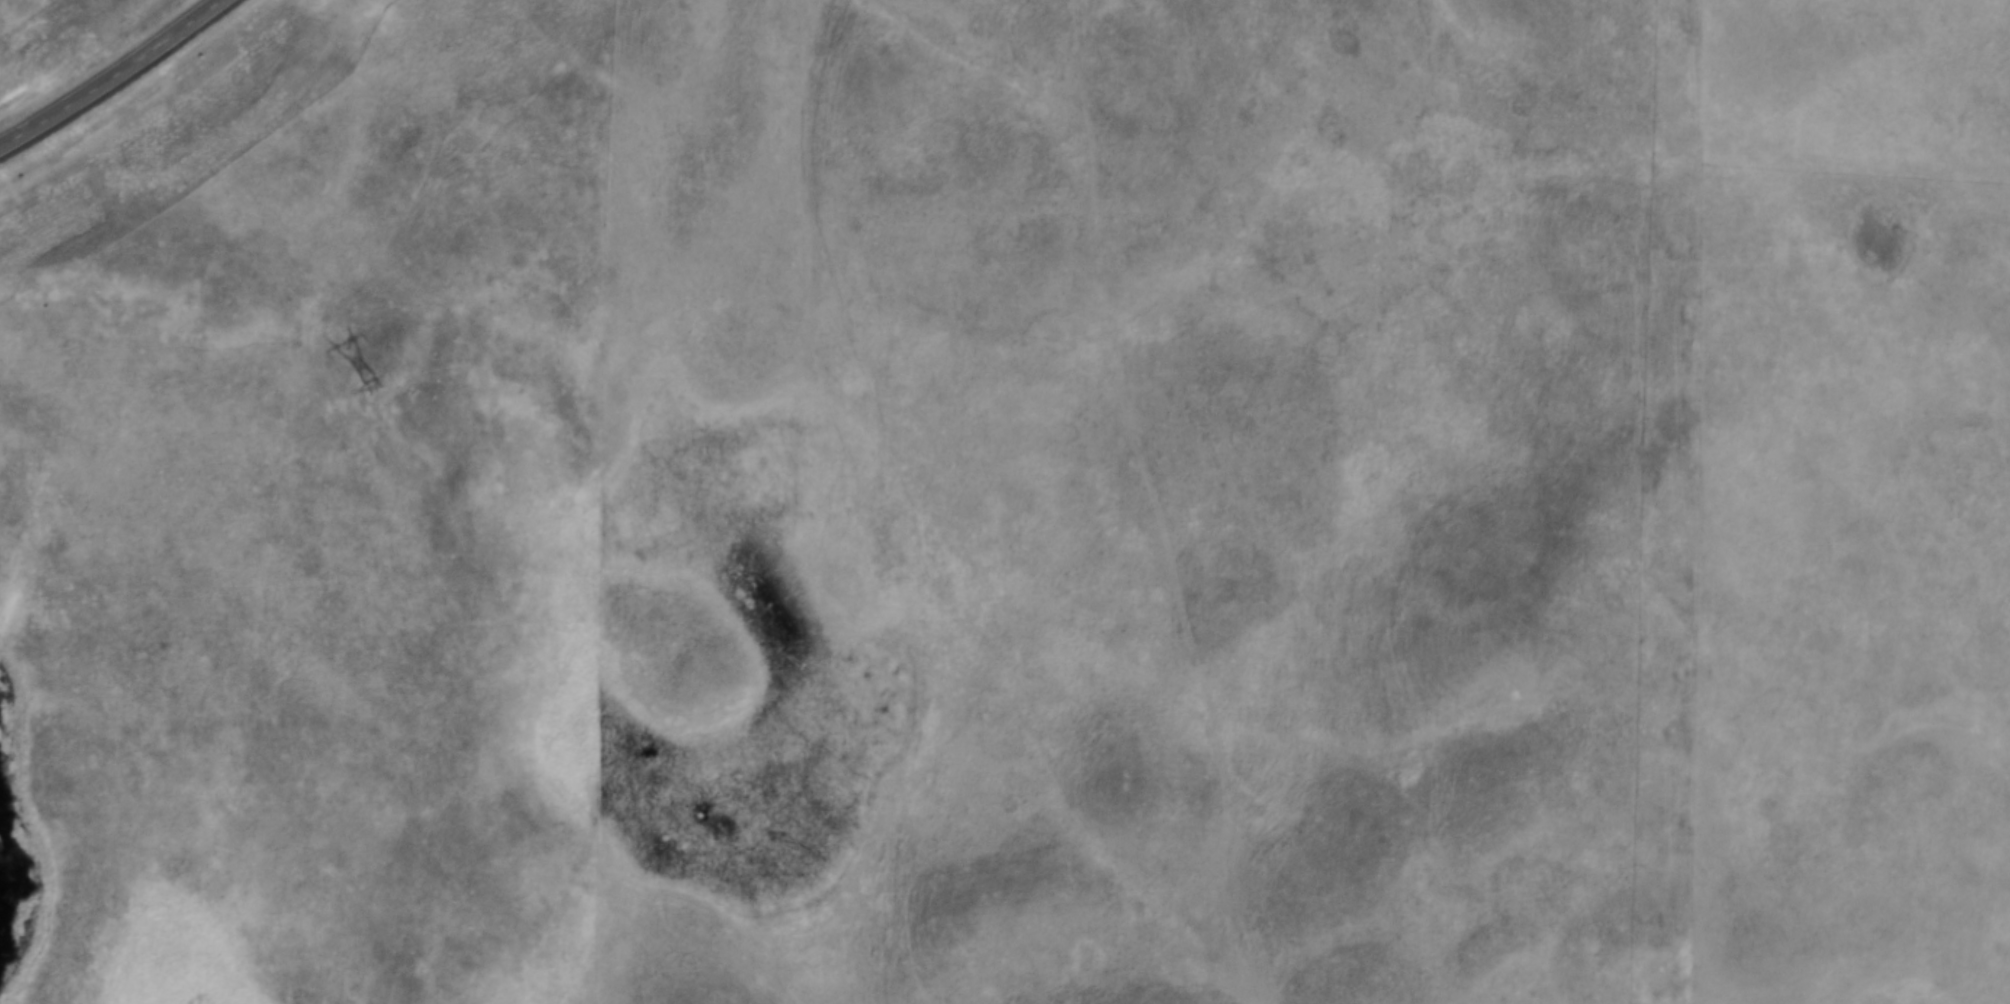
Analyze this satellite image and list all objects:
road: (119, 85)
power tower: (371, 390)

